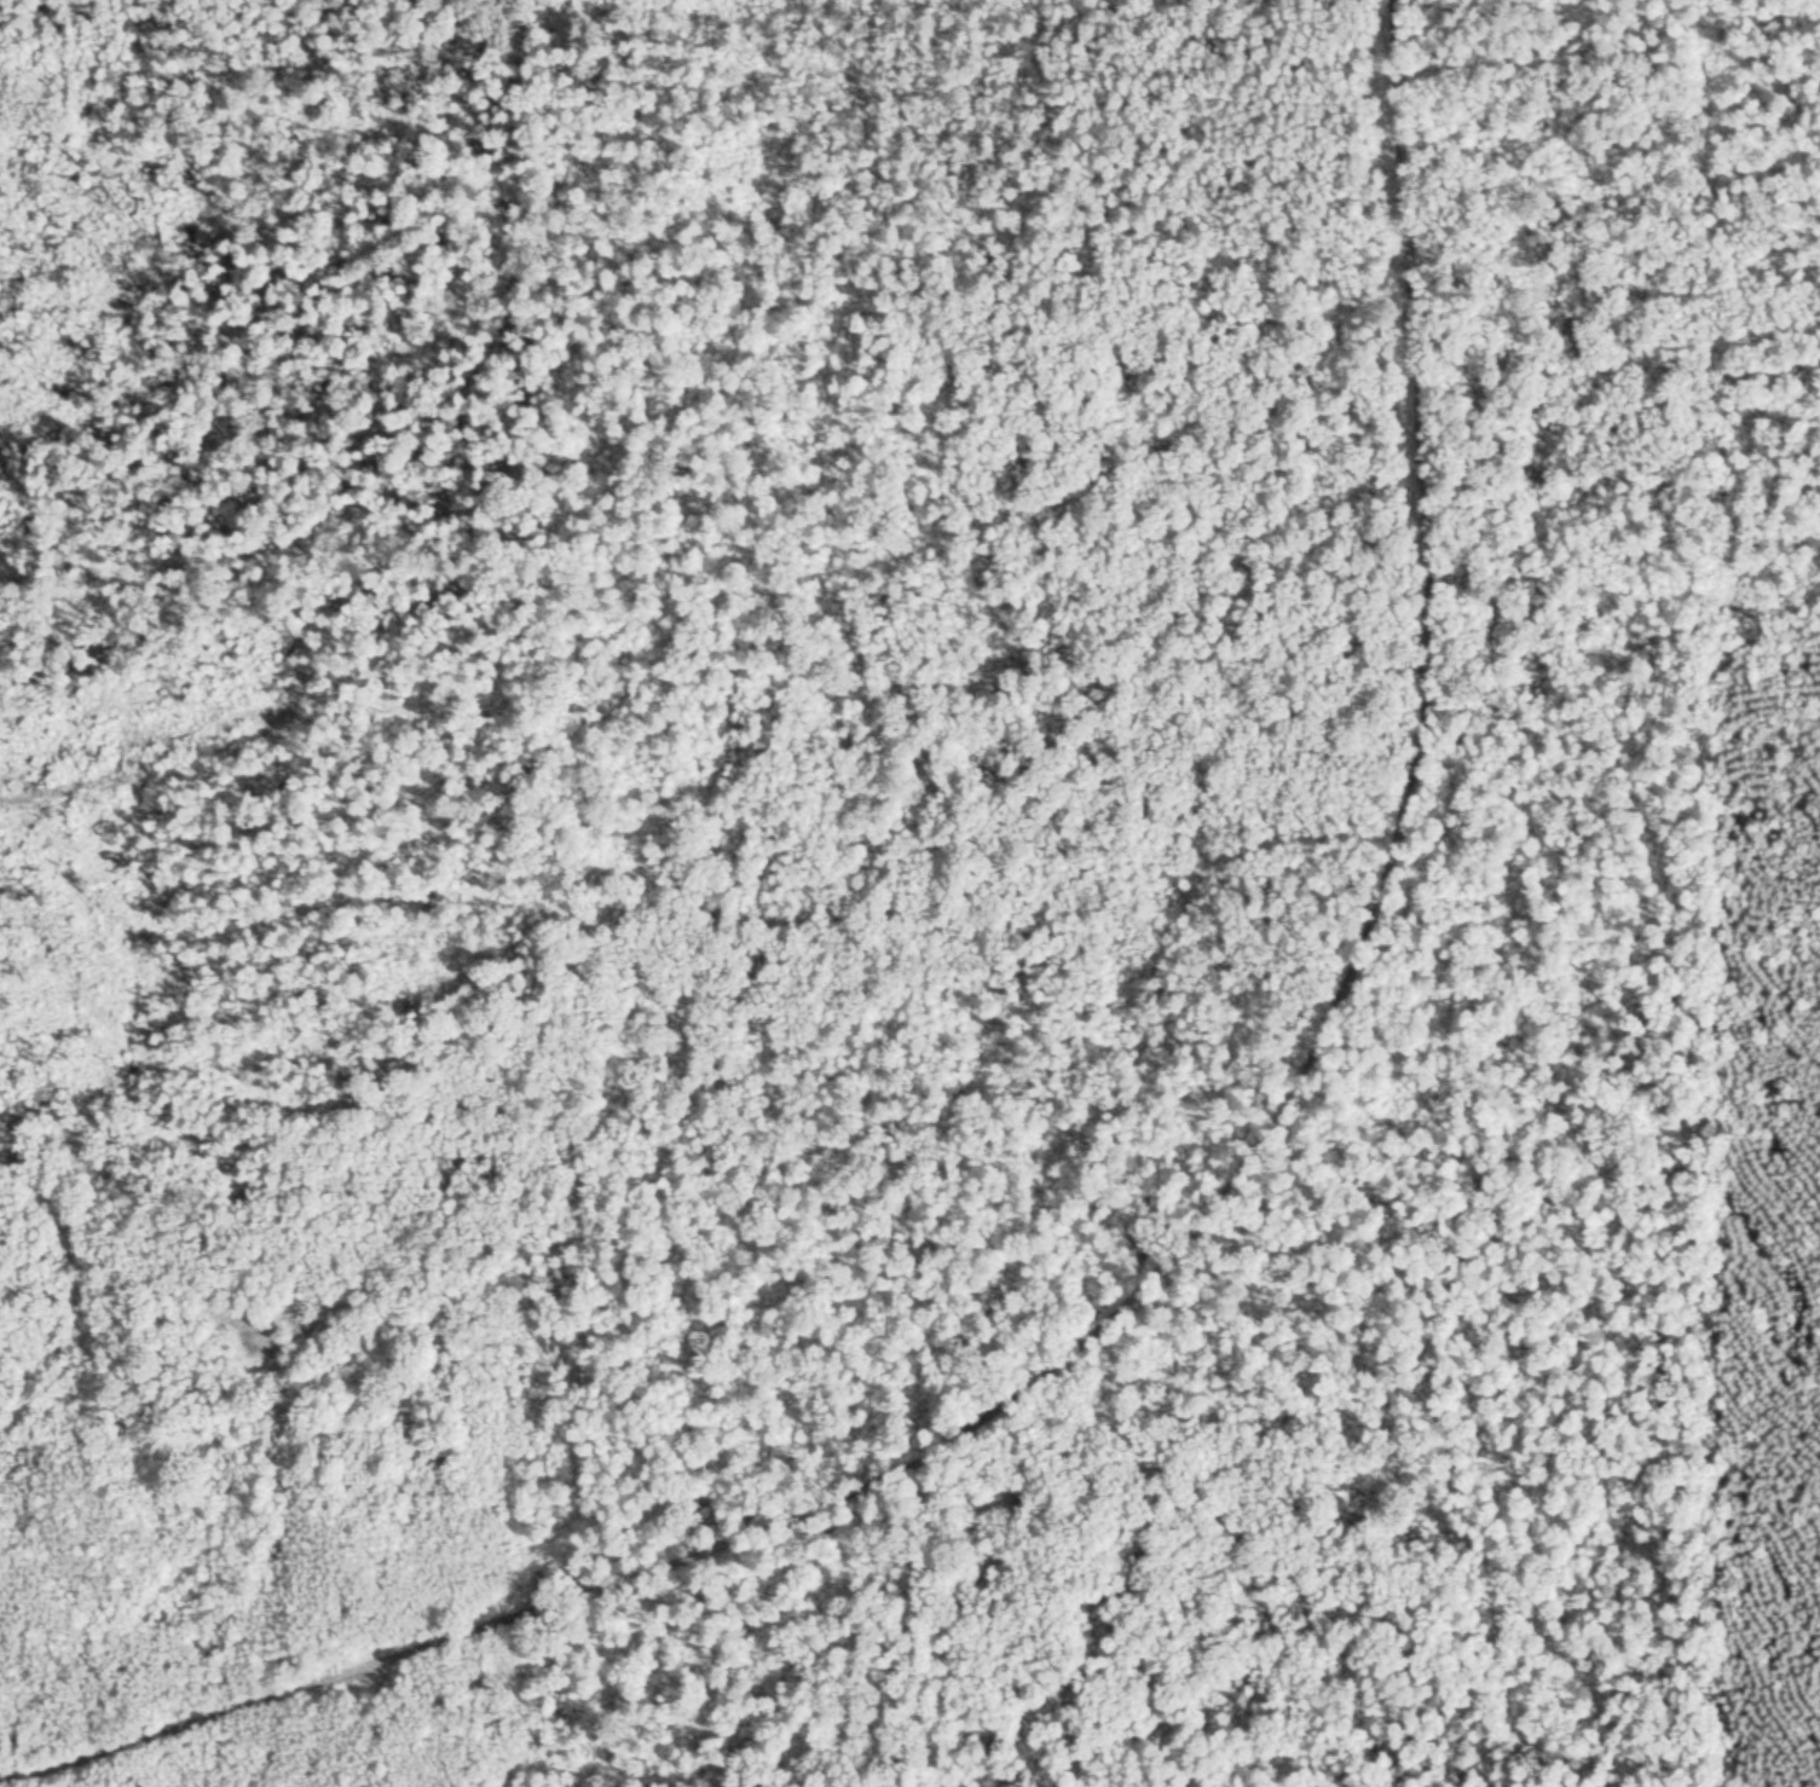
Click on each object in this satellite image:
road: (1172, 1244)

